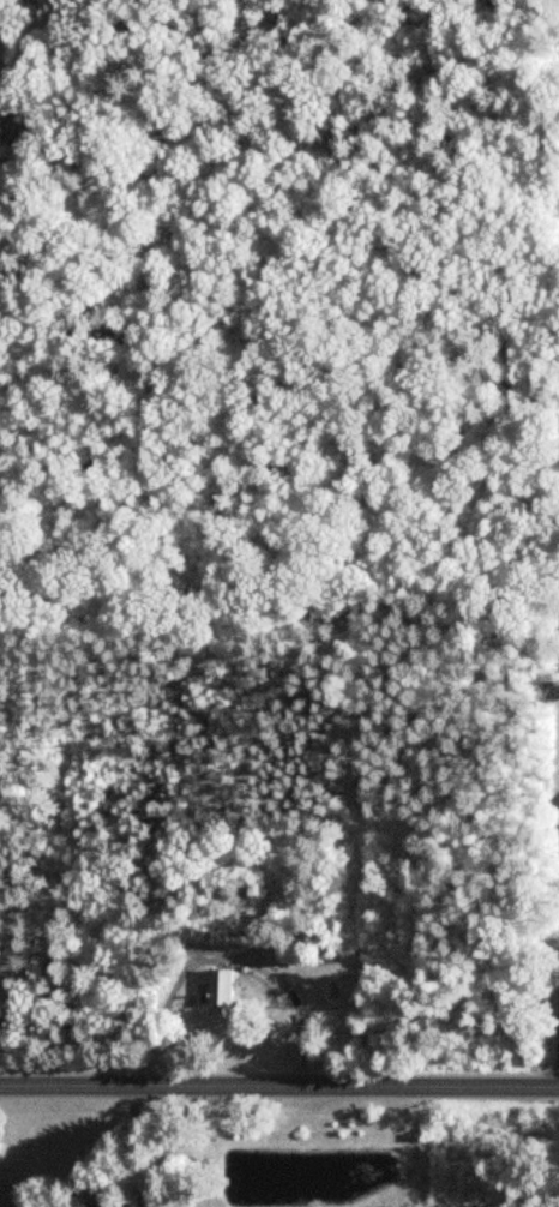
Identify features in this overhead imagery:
building: (223, 992)
road: (279, 1083)

